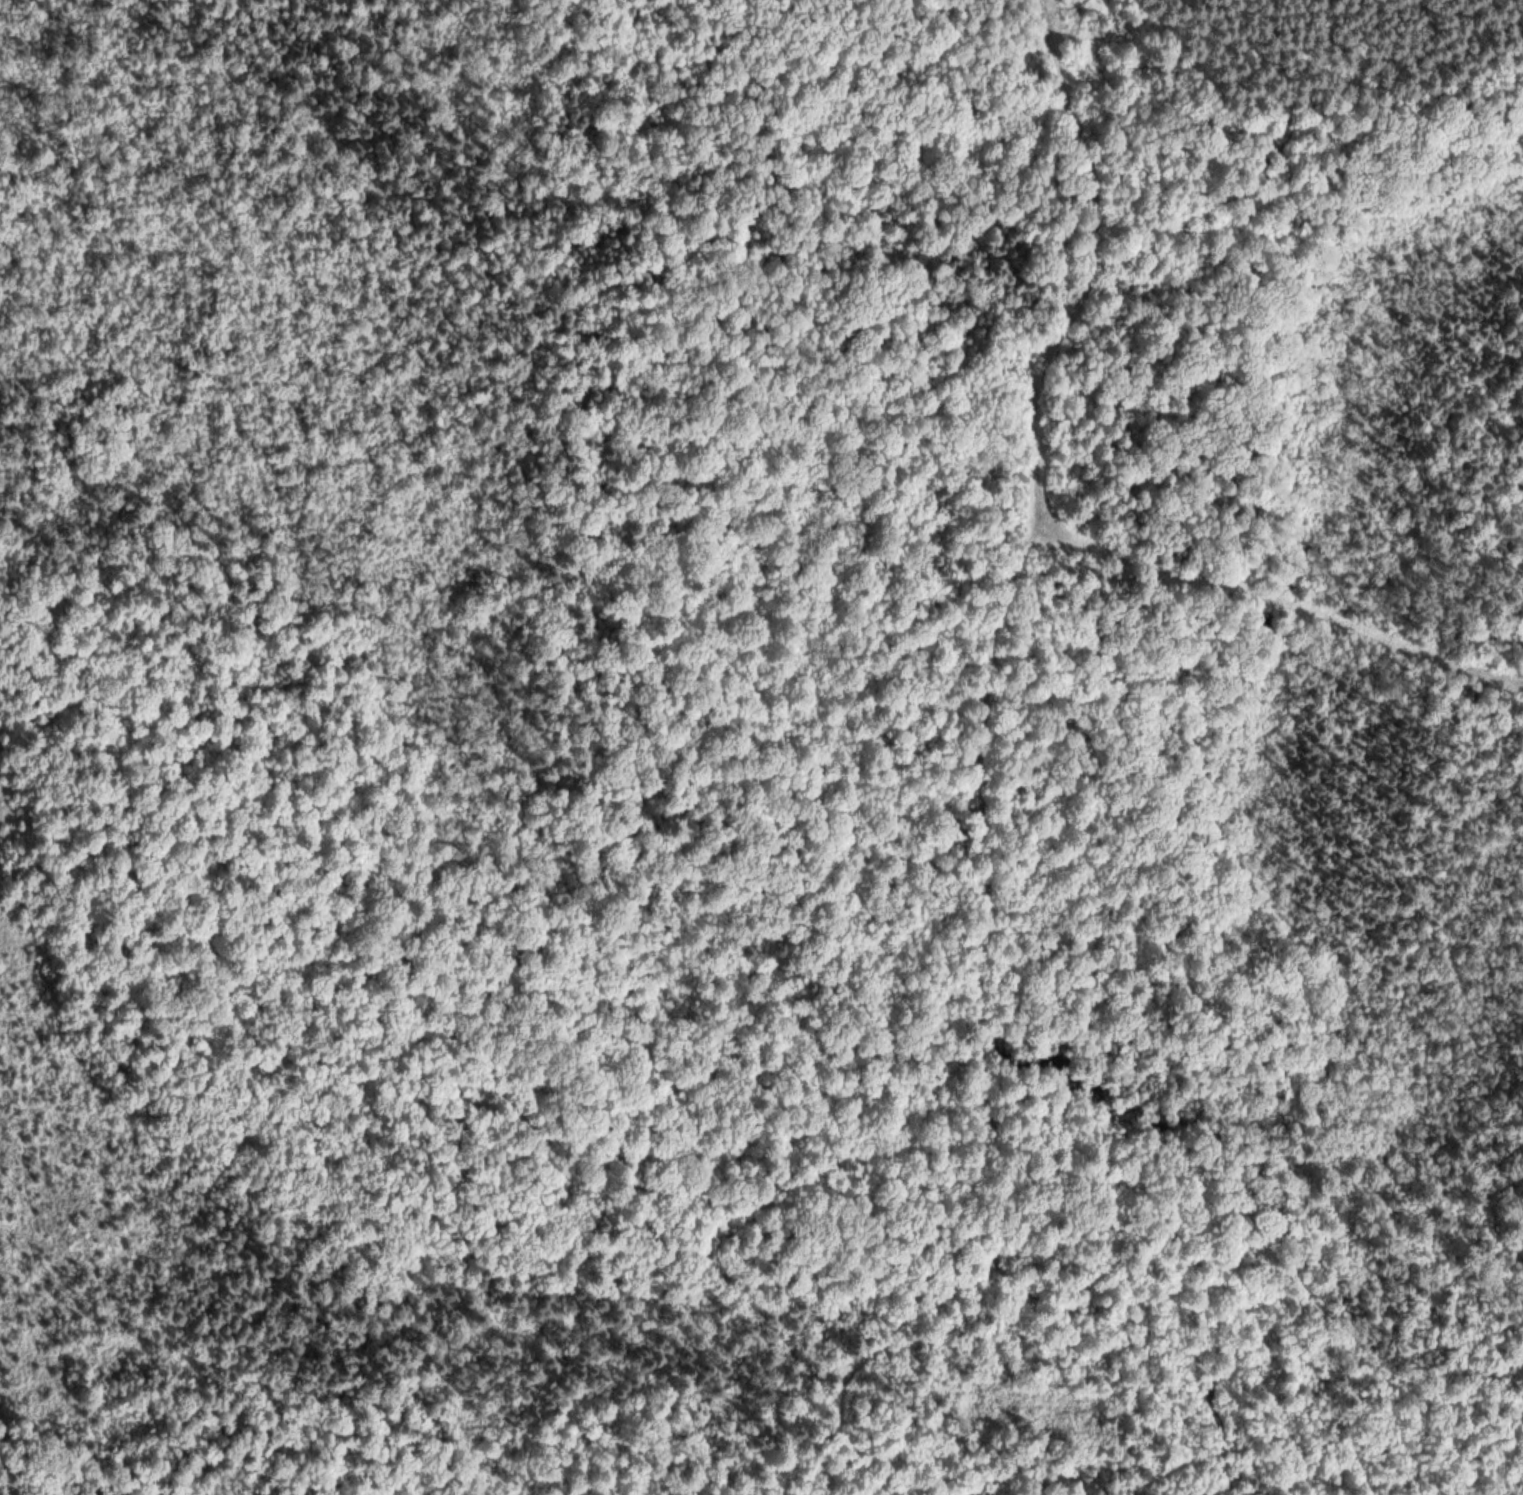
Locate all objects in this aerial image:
road: (1241, 464)
road: (1037, 508)

